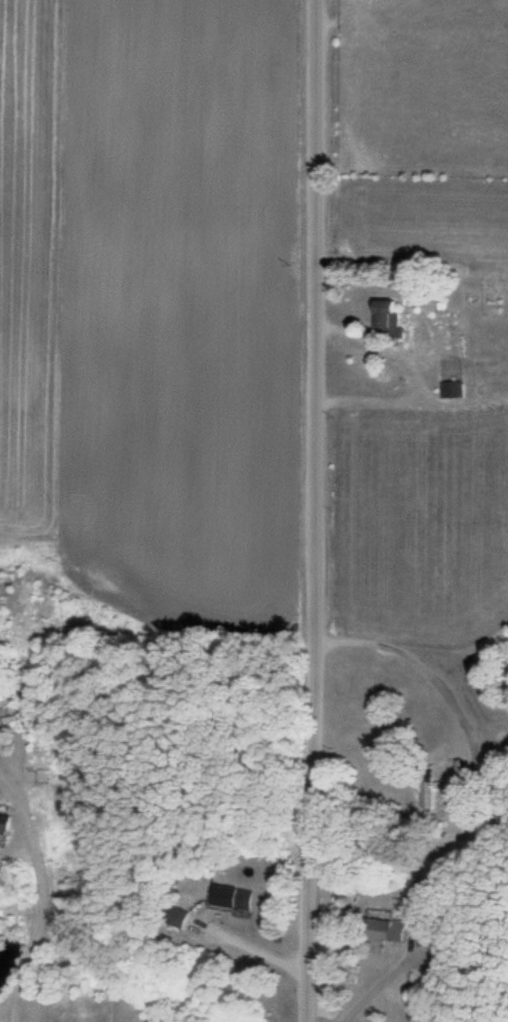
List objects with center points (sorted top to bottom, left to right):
building: (387, 318)
building: (450, 390)
road: (301, 511)
building: (15, 709)
building: (425, 790)
building: (3, 824)
building: (235, 897)
building: (390, 928)

